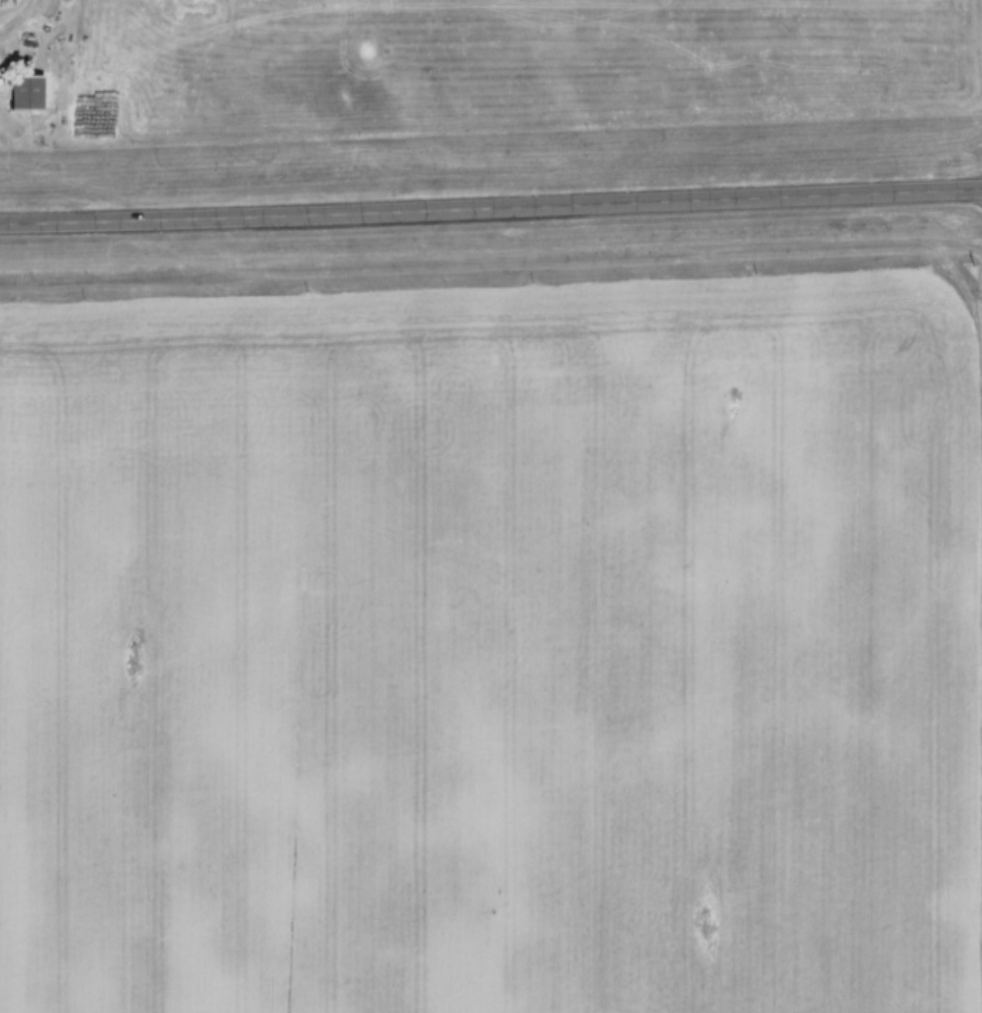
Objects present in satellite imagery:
building: (31, 95)
road: (490, 206)

